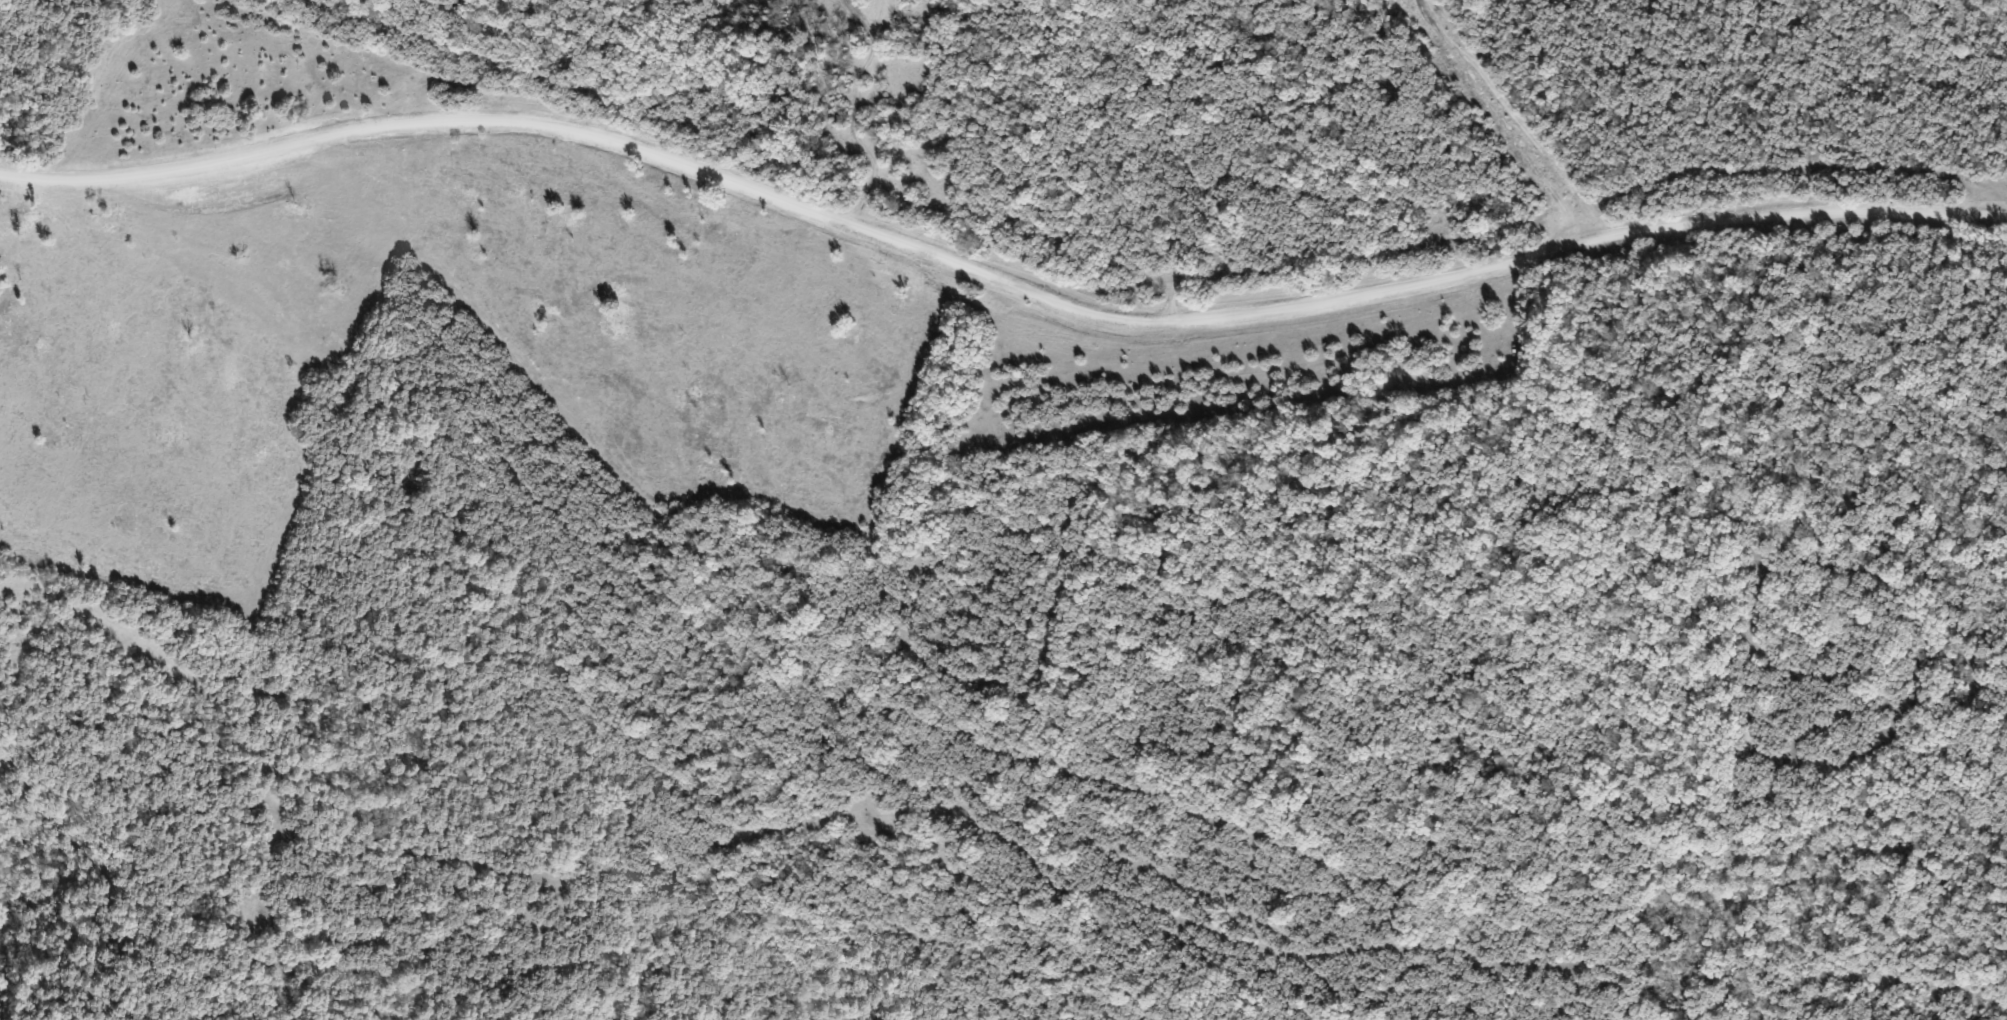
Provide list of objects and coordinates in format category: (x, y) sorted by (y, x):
road: (1502, 119)
road: (795, 206)
road: (1798, 217)

